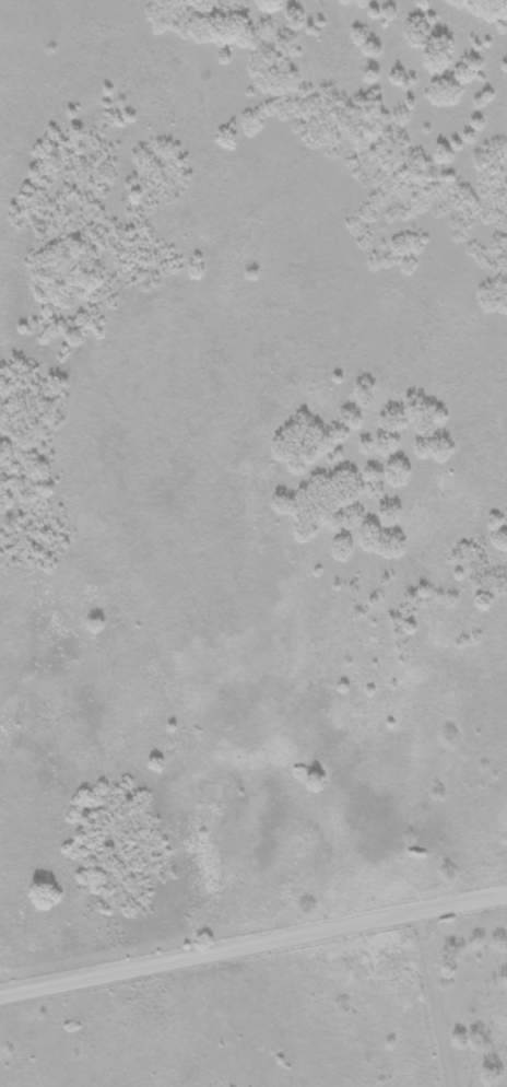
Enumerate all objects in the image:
road: (252, 944)

